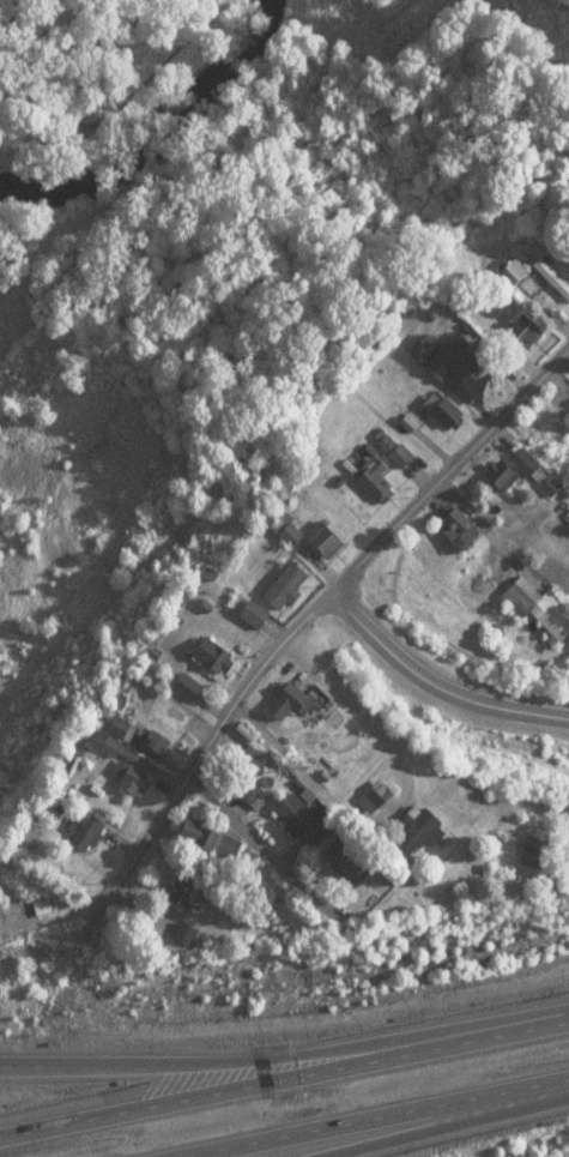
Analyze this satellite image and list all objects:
building: (552, 279)
building: (525, 331)
building: (454, 364)
building: (442, 412)
building: (552, 424)
building: (393, 450)
building: (526, 463)
building: (504, 476)
building: (375, 481)
building: (456, 528)
building: (289, 534)
building: (325, 540)
building: (286, 586)
building: (539, 605)
building: (254, 613)
road: (309, 615)
building: (217, 653)
road: (436, 681)
building: (189, 689)
building: (291, 700)
road: (334, 703)
building: (126, 731)
building: (156, 747)
building: (129, 778)
building: (255, 796)
building: (303, 819)
building: (87, 834)
building: (210, 836)
road: (261, 845)
building: (552, 851)
building: (356, 860)
building: (184, 935)
road: (522, 1025)
road: (238, 1050)
road: (238, 1087)
road: (368, 1113)
road: (398, 1116)

